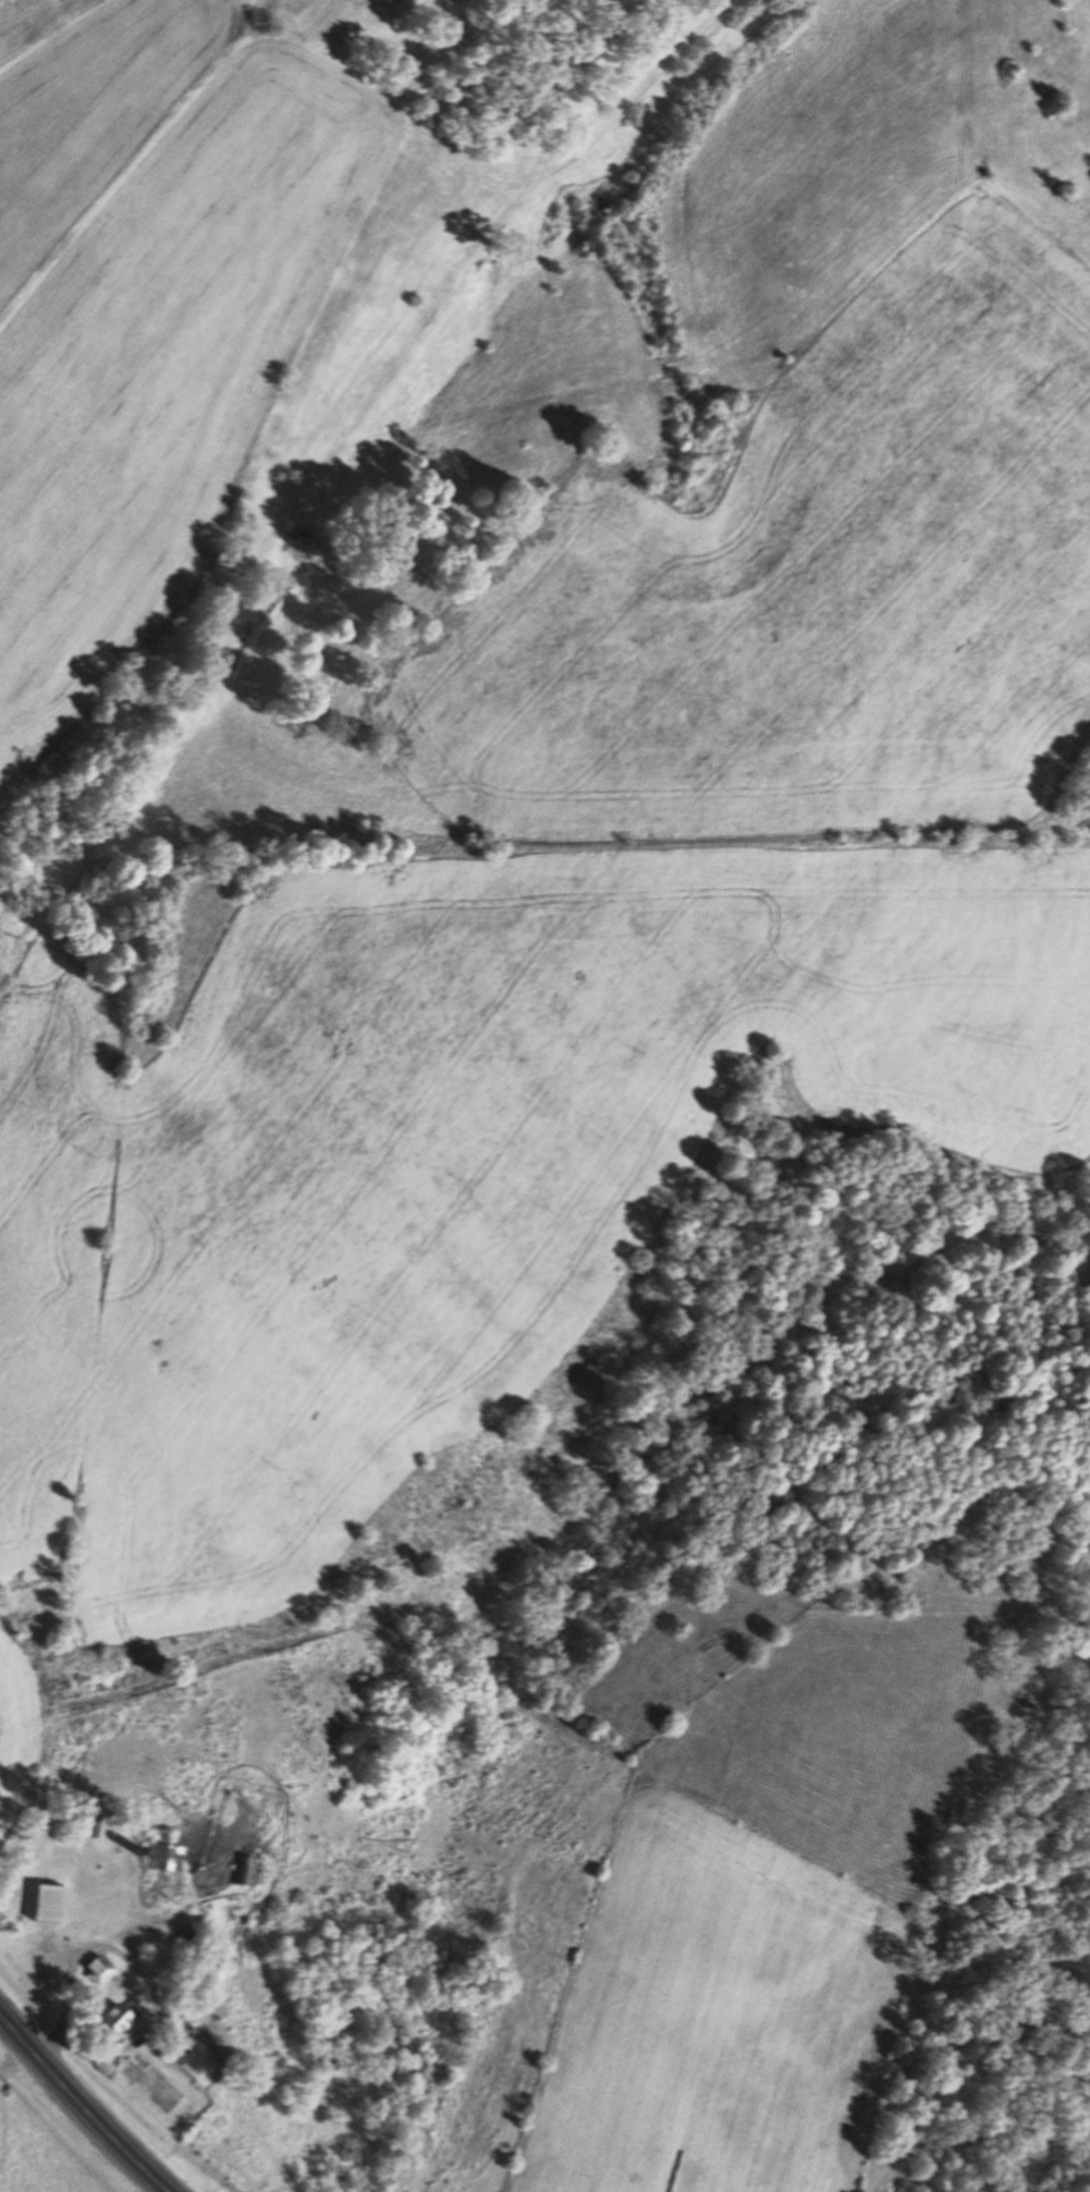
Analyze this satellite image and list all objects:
building: (85, 1821)
building: (162, 1856)
building: (241, 1869)
building: (49, 1901)
building: (137, 1950)
road: (132, 1961)
building: (99, 1969)
building: (118, 2016)
road: (81, 2104)

